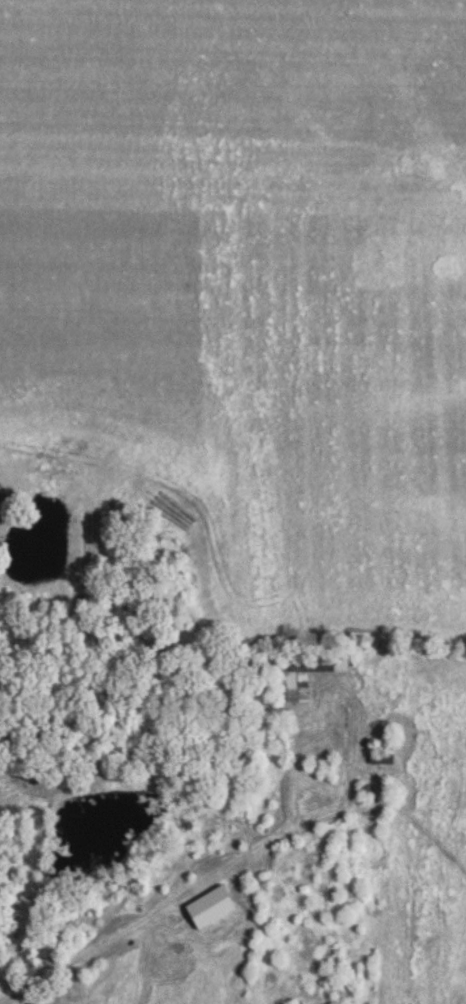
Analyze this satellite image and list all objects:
building: (302, 675)
building: (382, 759)

